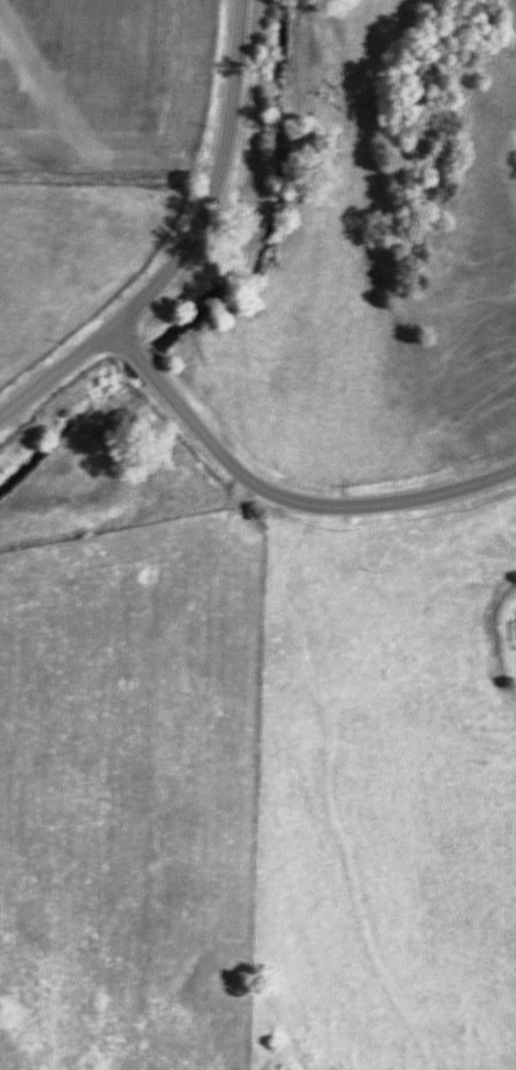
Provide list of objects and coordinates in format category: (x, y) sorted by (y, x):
road: (216, 179)
road: (57, 372)
road: (280, 497)

